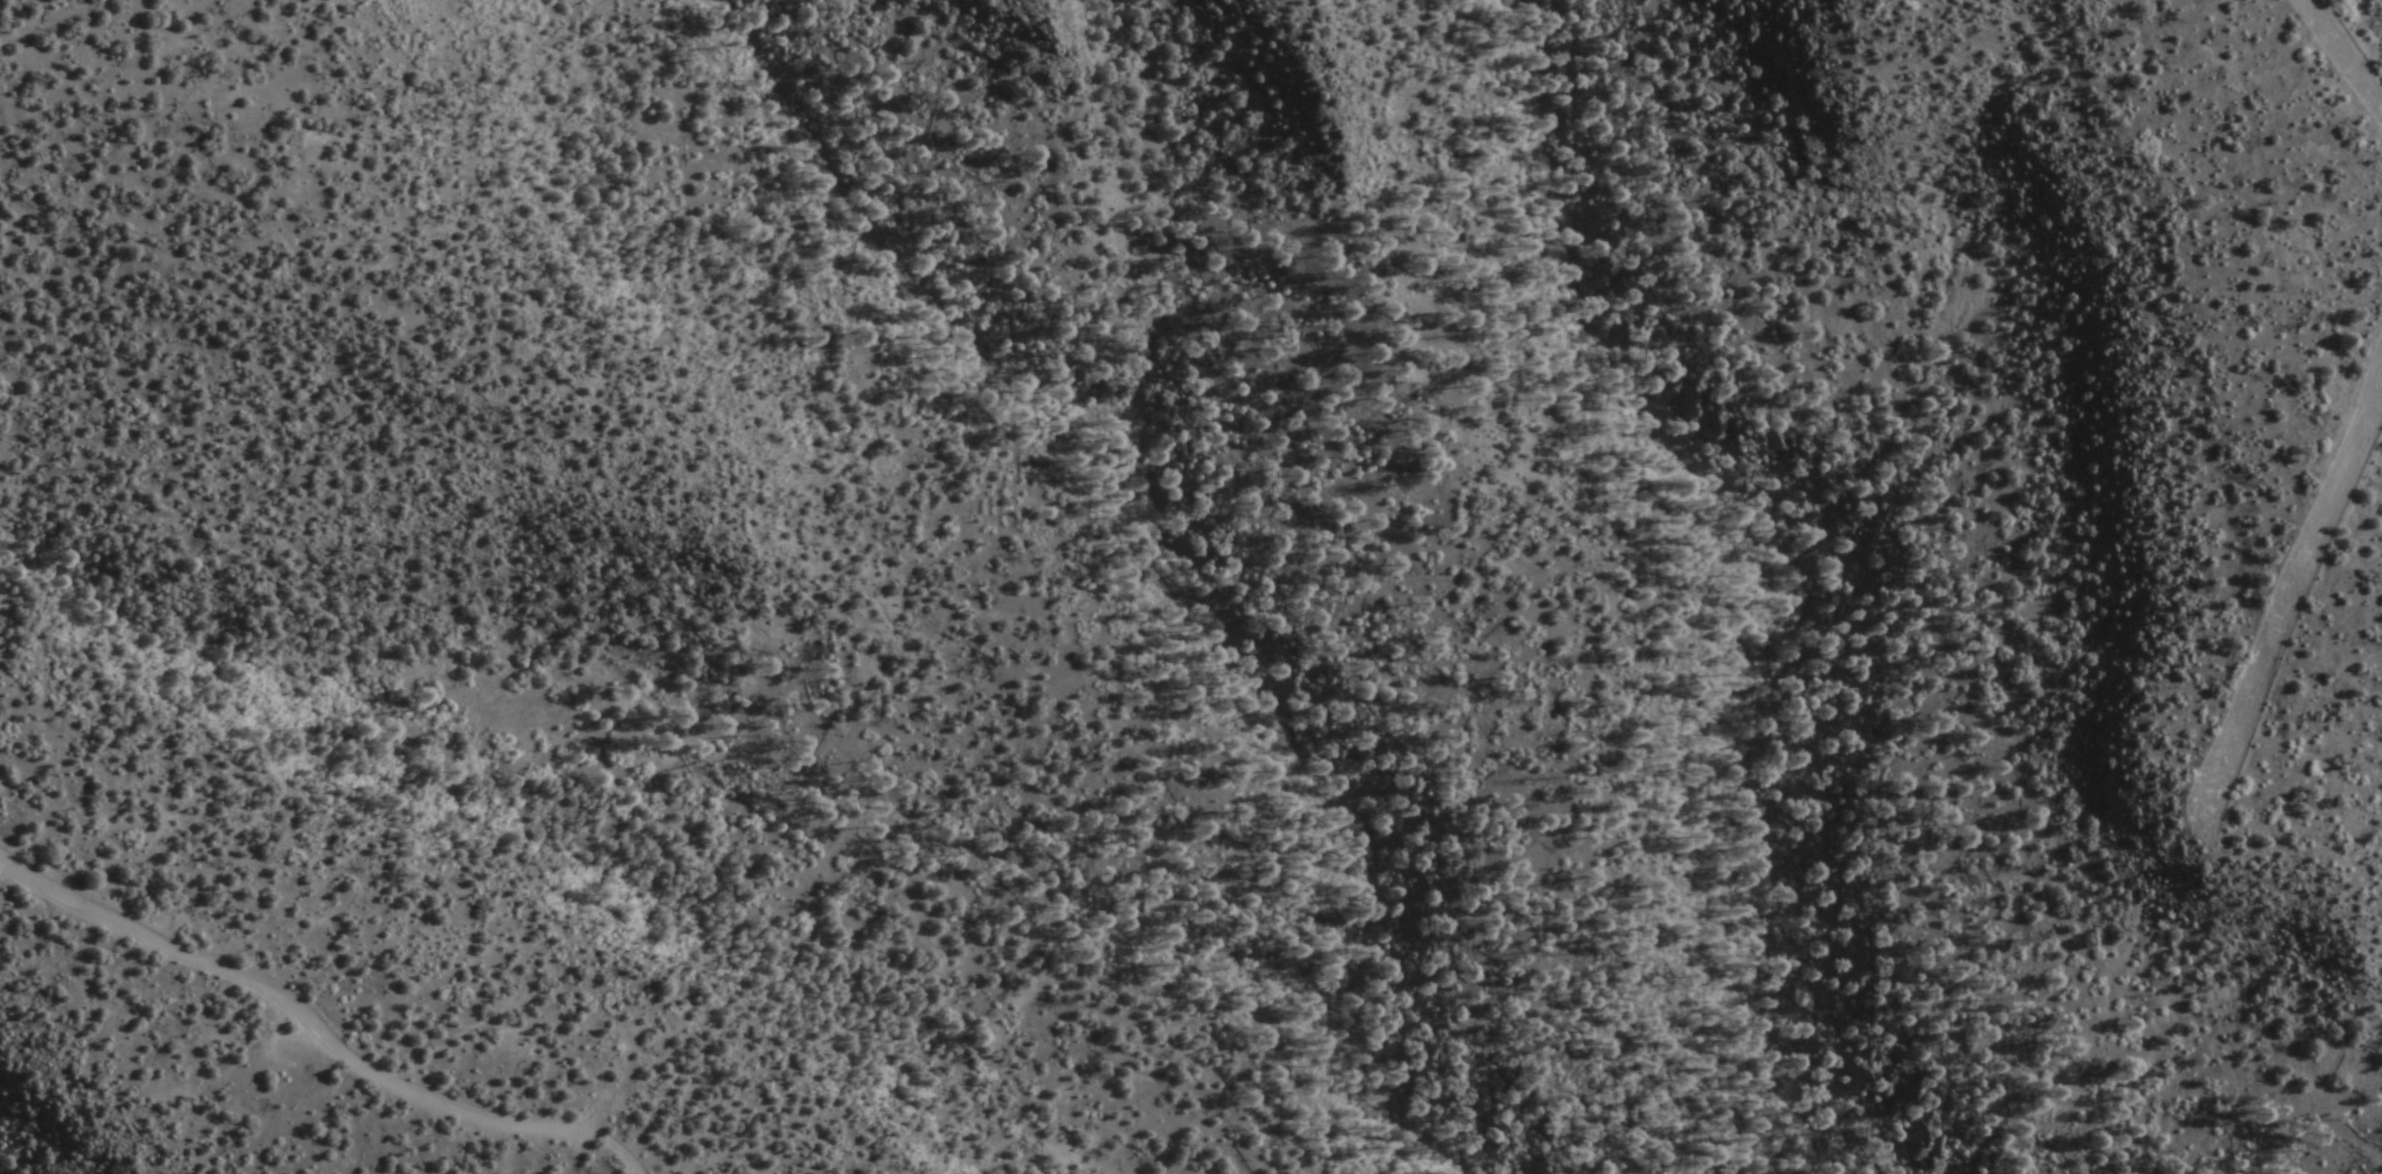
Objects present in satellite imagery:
road: (2340, 51)
road: (2216, 773)
road: (316, 1028)

